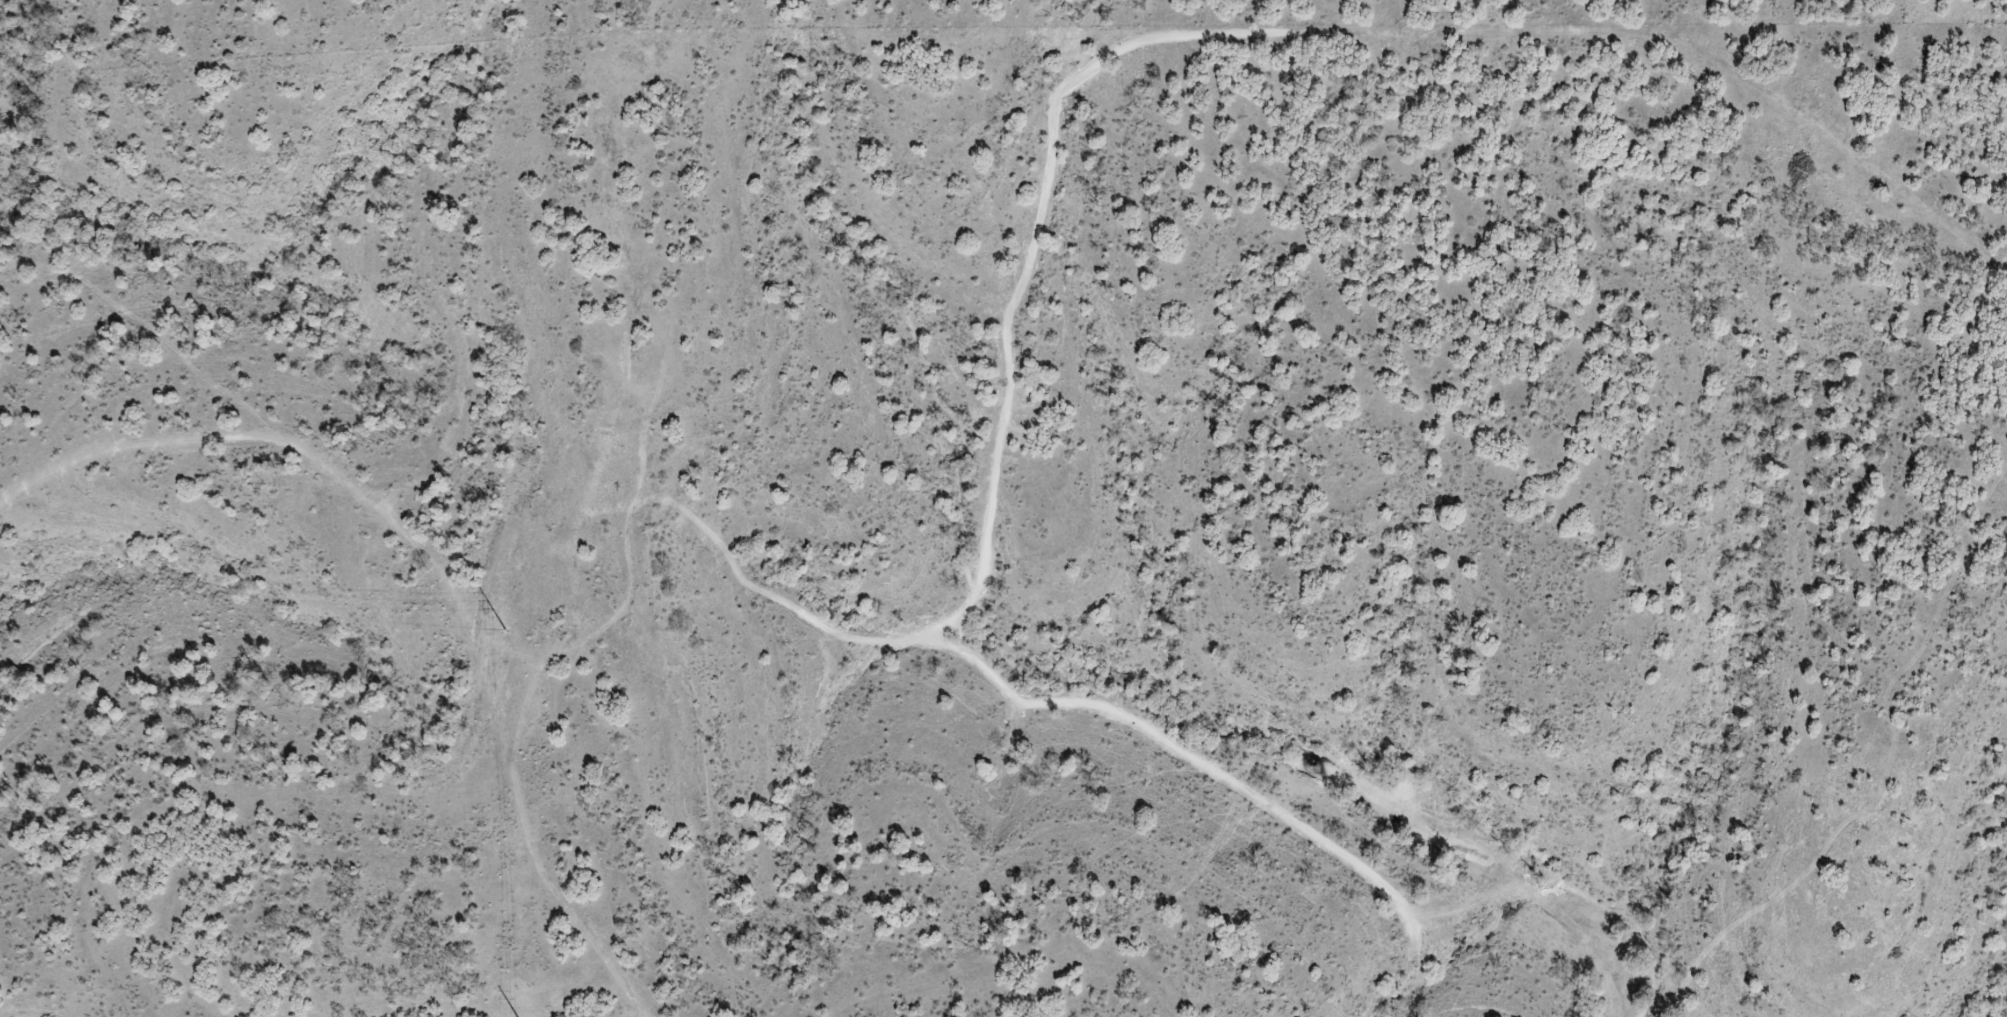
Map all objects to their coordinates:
power tower: (510, 630)

